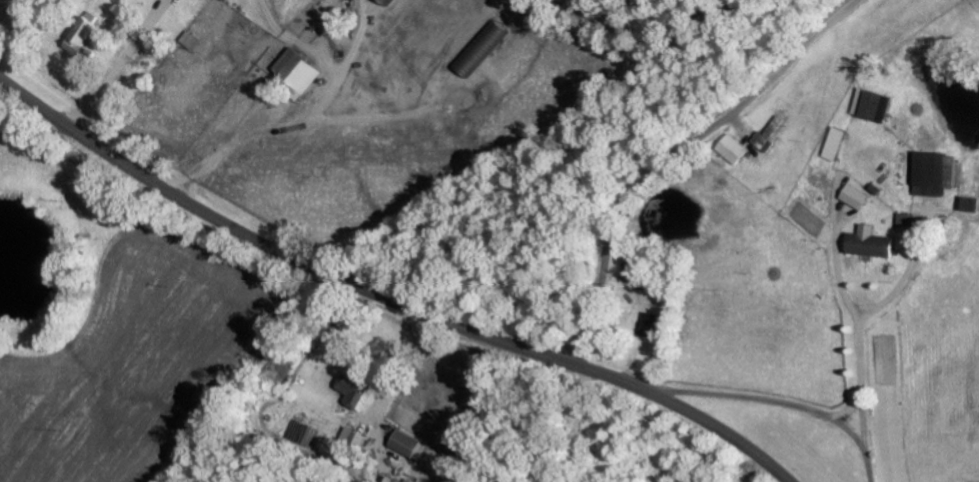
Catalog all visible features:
building: (79, 36)
road: (118, 66)
building: (294, 71)
building: (869, 105)
building: (765, 135)
building: (730, 149)
road: (676, 156)
building: (932, 174)
building: (853, 196)
building: (965, 204)
building: (904, 219)
building: (866, 243)
road: (383, 300)
building: (647, 325)
building: (351, 390)
road: (783, 399)
building: (403, 443)

